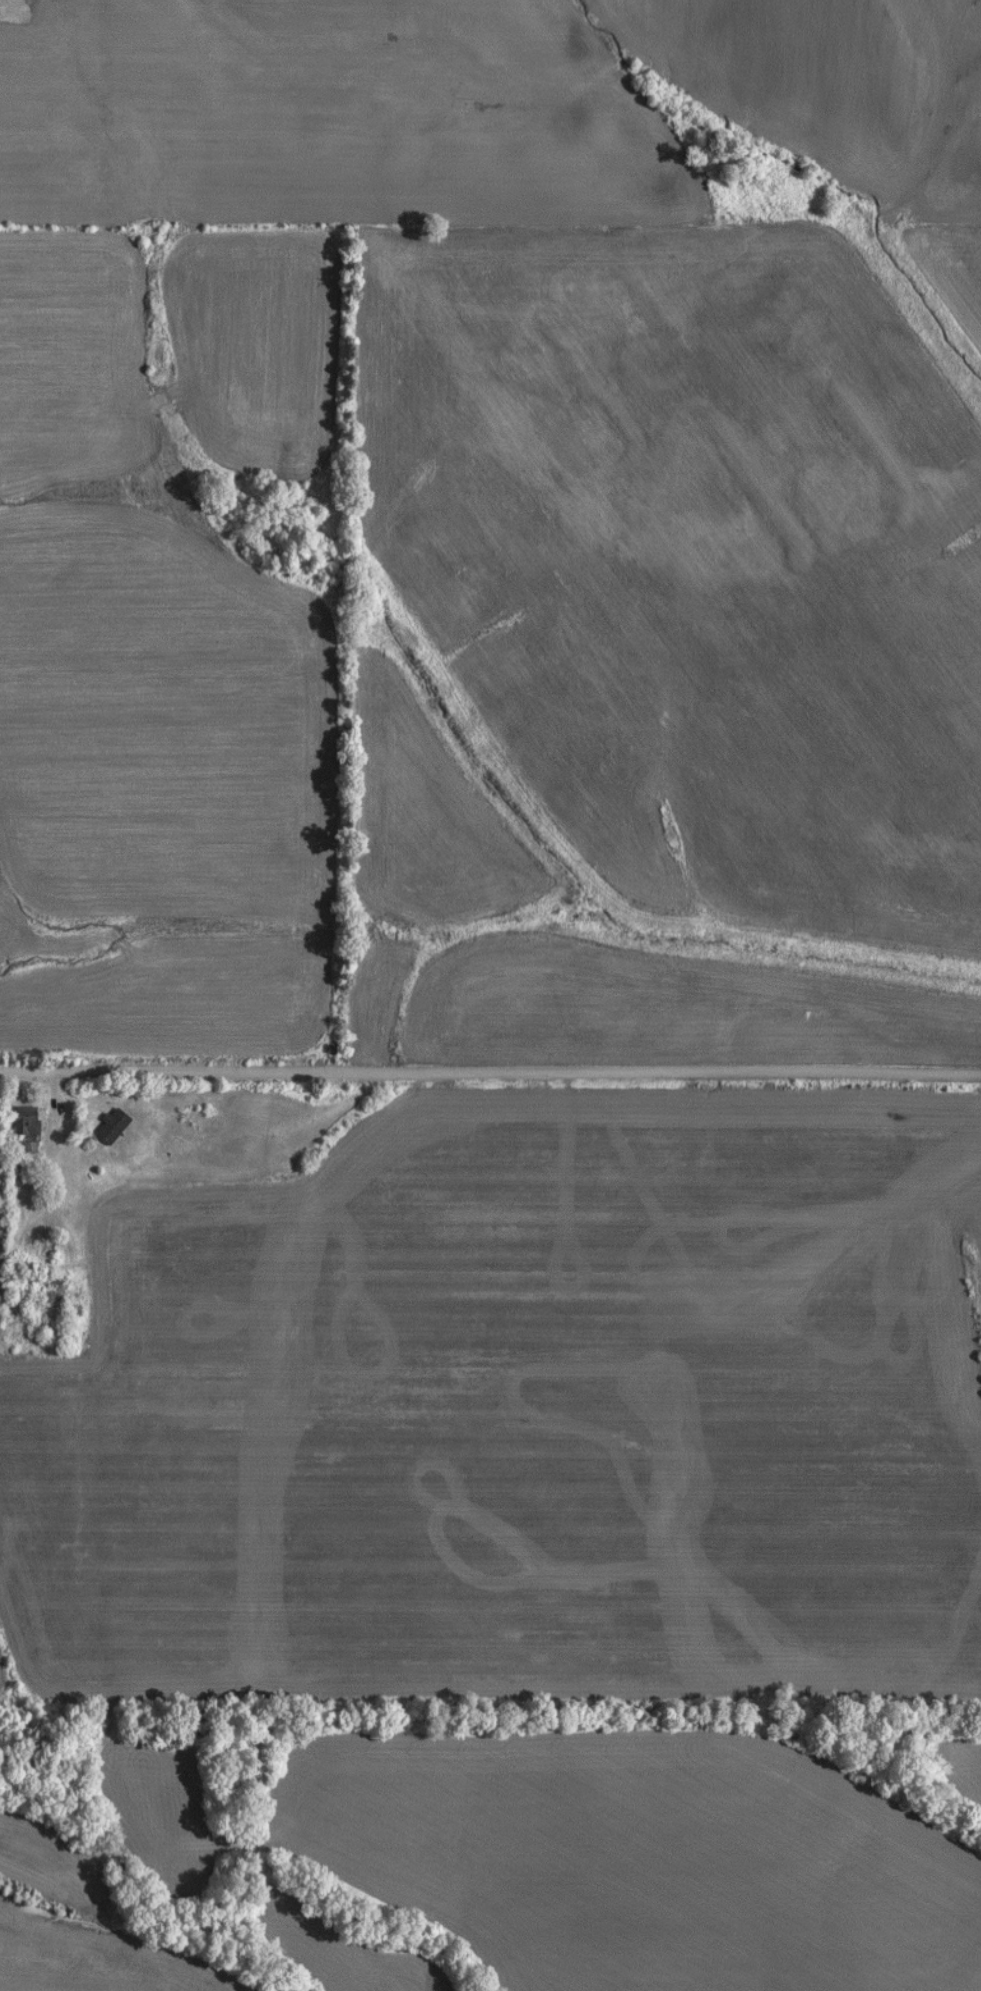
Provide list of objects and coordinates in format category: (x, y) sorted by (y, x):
road: (490, 1075)
building: (19, 1121)
building: (105, 1128)
building: (22, 1152)
building: (39, 1289)

